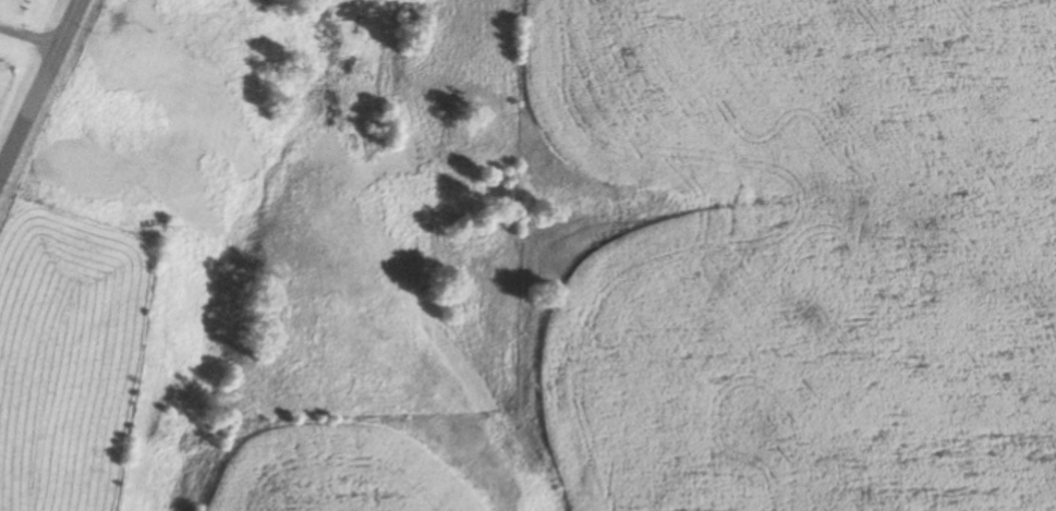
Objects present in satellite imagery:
road: (27, 37)
road: (37, 84)

